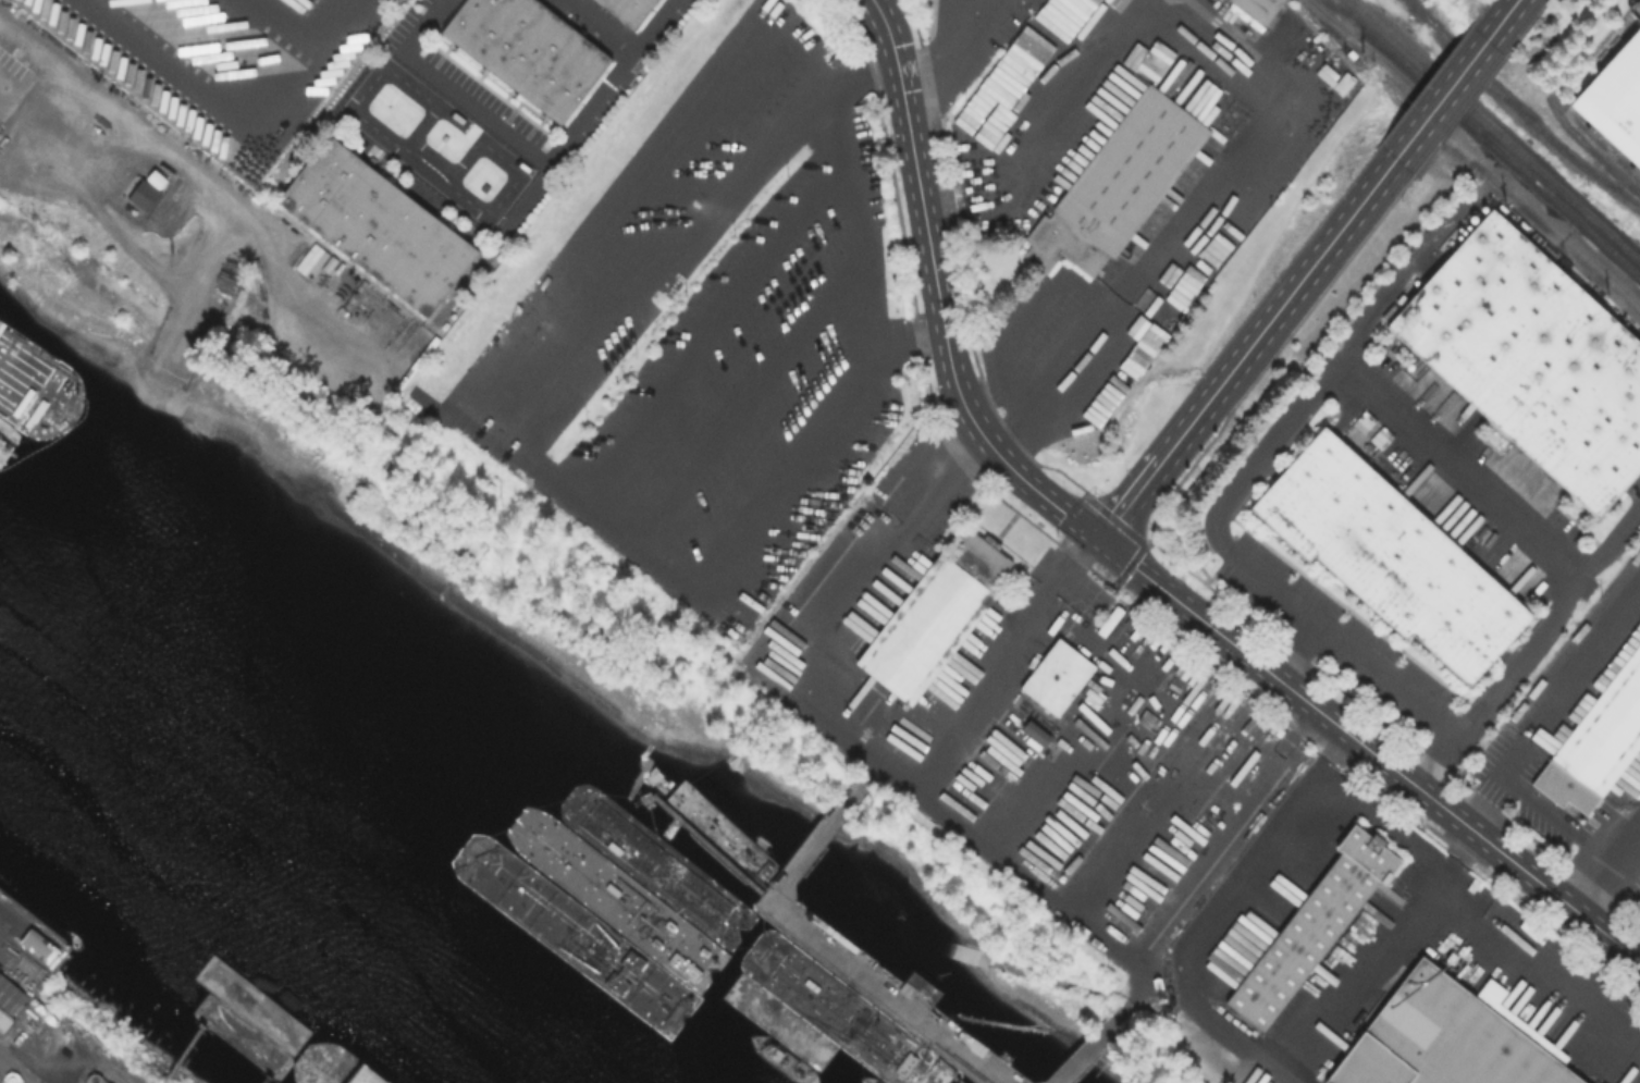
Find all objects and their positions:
building: (628, 10)
building: (1257, 12)
road: (1504, 19)
railway: (1435, 24)
road: (422, 26)
road: (600, 27)
road: (350, 32)
road: (1201, 40)
road: (954, 47)
building: (529, 51)
railway: (1417, 58)
road: (247, 94)
road: (1442, 99)
road: (42, 100)
building: (1617, 101)
road: (477, 110)
railway: (1517, 110)
road: (841, 131)
railway: (1591, 133)
railway: (1488, 137)
road: (1473, 149)
road: (201, 181)
building: (1120, 187)
railway: (1561, 187)
railway: (1559, 195)
building: (143, 197)
road: (507, 223)
building: (378, 226)
road: (674, 248)
road: (1409, 266)
road: (938, 293)
road: (743, 294)
road: (1022, 317)
road: (1245, 348)
road: (784, 357)
building: (1531, 357)
road: (1051, 378)
pier: (34, 390)
road: (496, 402)
road: (942, 479)
road: (1114, 550)
building: (1390, 554)
road: (1066, 556)
road: (1562, 561)
road: (1145, 575)
building: (938, 617)
road: (1230, 641)
road: (1299, 651)
road: (1581, 661)
building: (1059, 678)
road: (987, 684)
building: (1598, 746)
road: (1438, 760)
road: (900, 765)
road: (1399, 774)
road: (1532, 803)
road: (1384, 825)
road: (1604, 862)
road: (1246, 864)
building: (604, 887)
road: (1569, 903)
road: (8, 918)
railway: (30, 922)
building: (1314, 926)
road: (811, 934)
building: (35, 943)
railway: (24, 947)
road: (1517, 951)
road: (1362, 975)
pier: (904, 976)
building: (9, 999)
building: (1450, 1038)
road: (1095, 1043)
road: (1243, 1045)
pier: (183, 1049)
building: (363, 1075)

